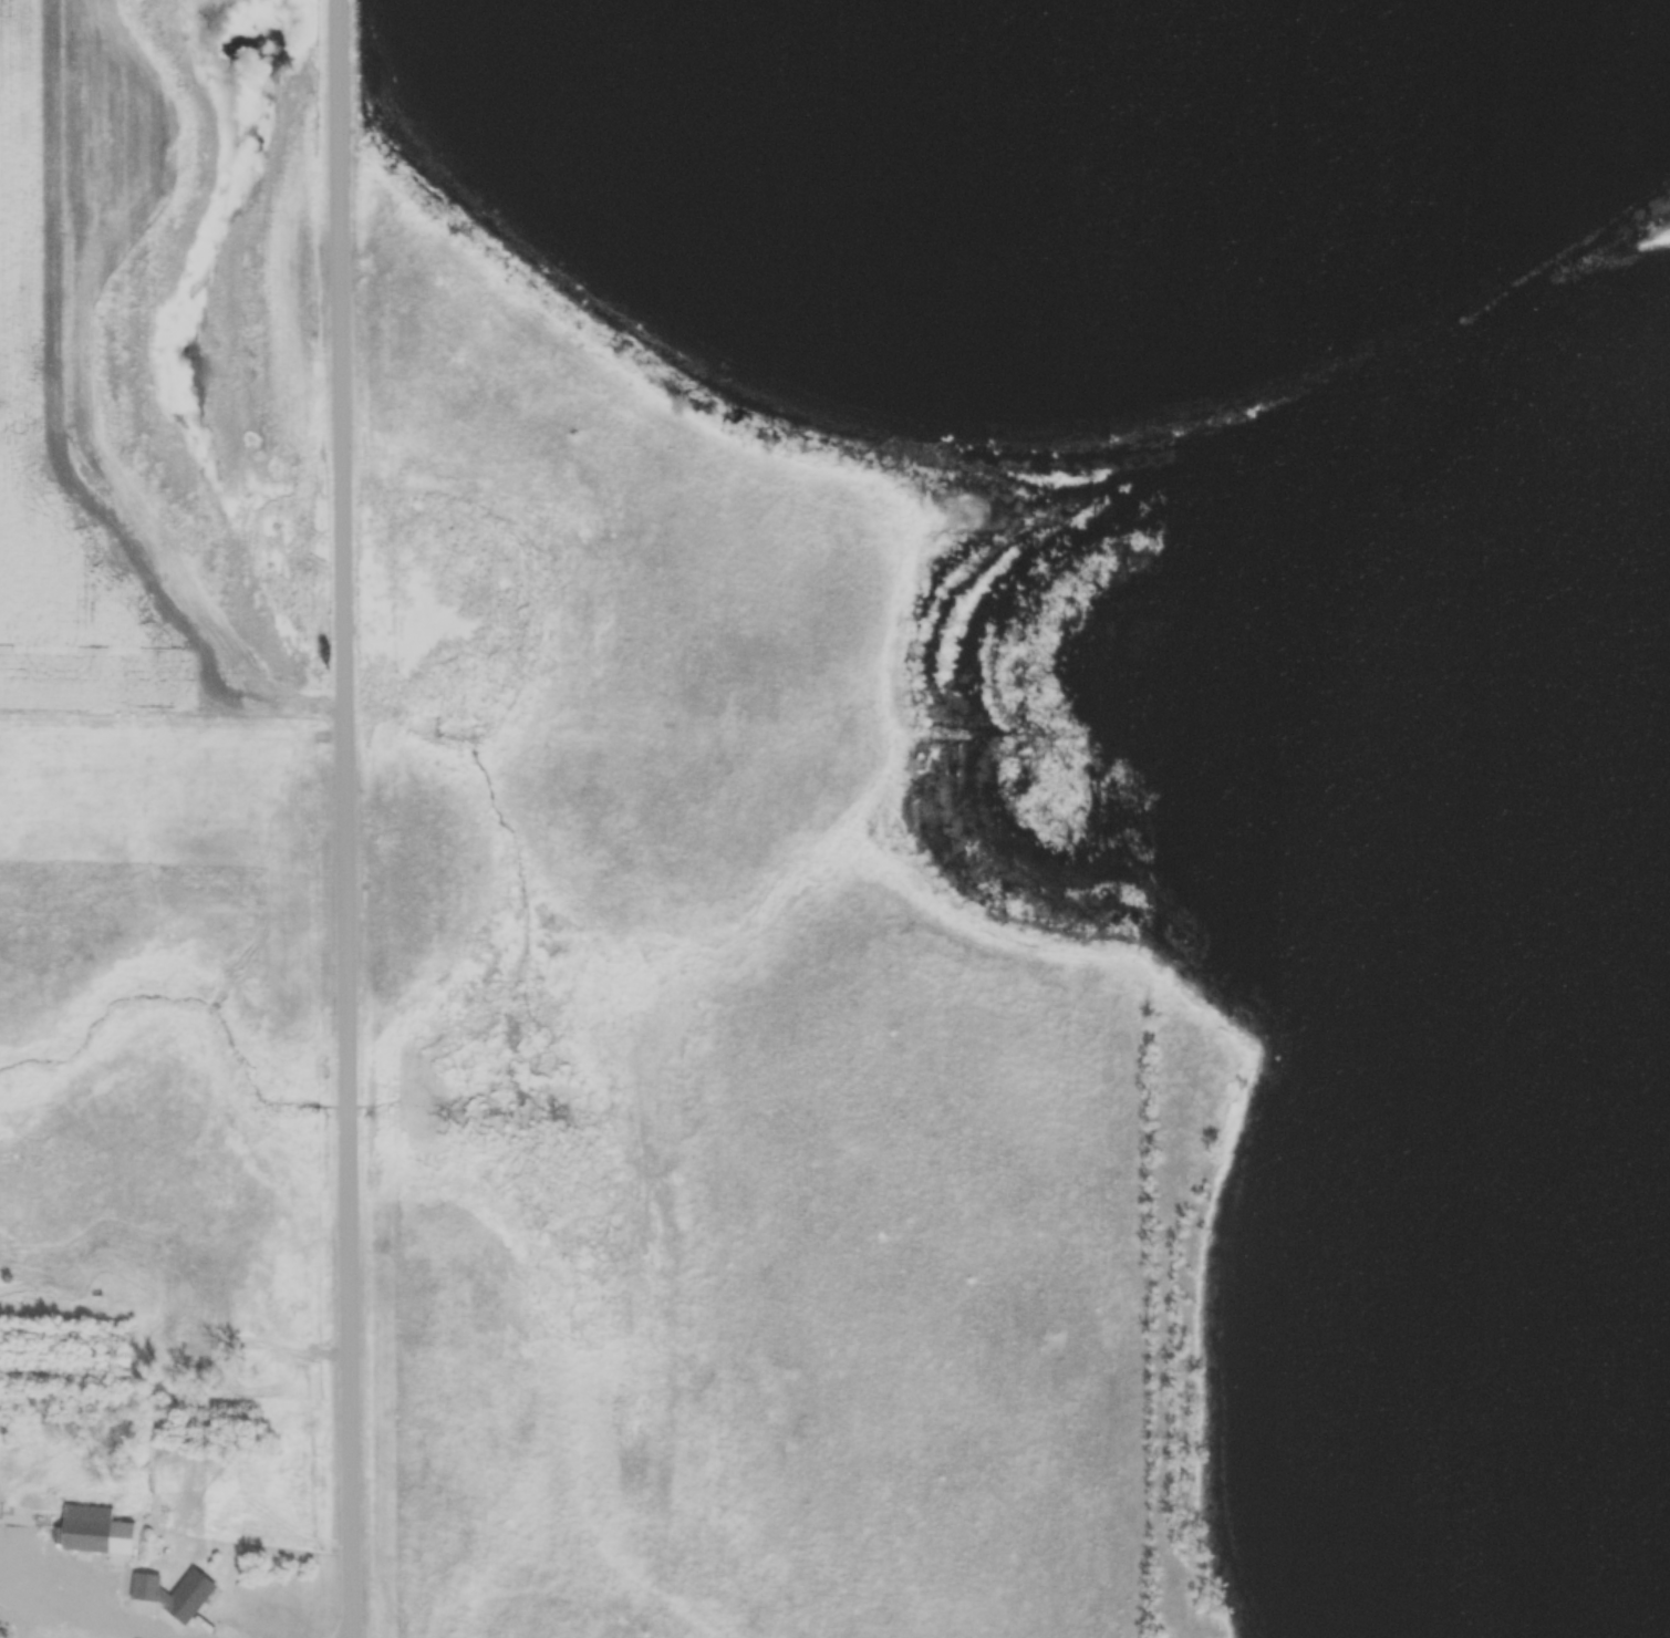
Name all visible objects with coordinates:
road: (349, 819)
building: (101, 1539)
building: (189, 1597)
road: (91, 1627)

